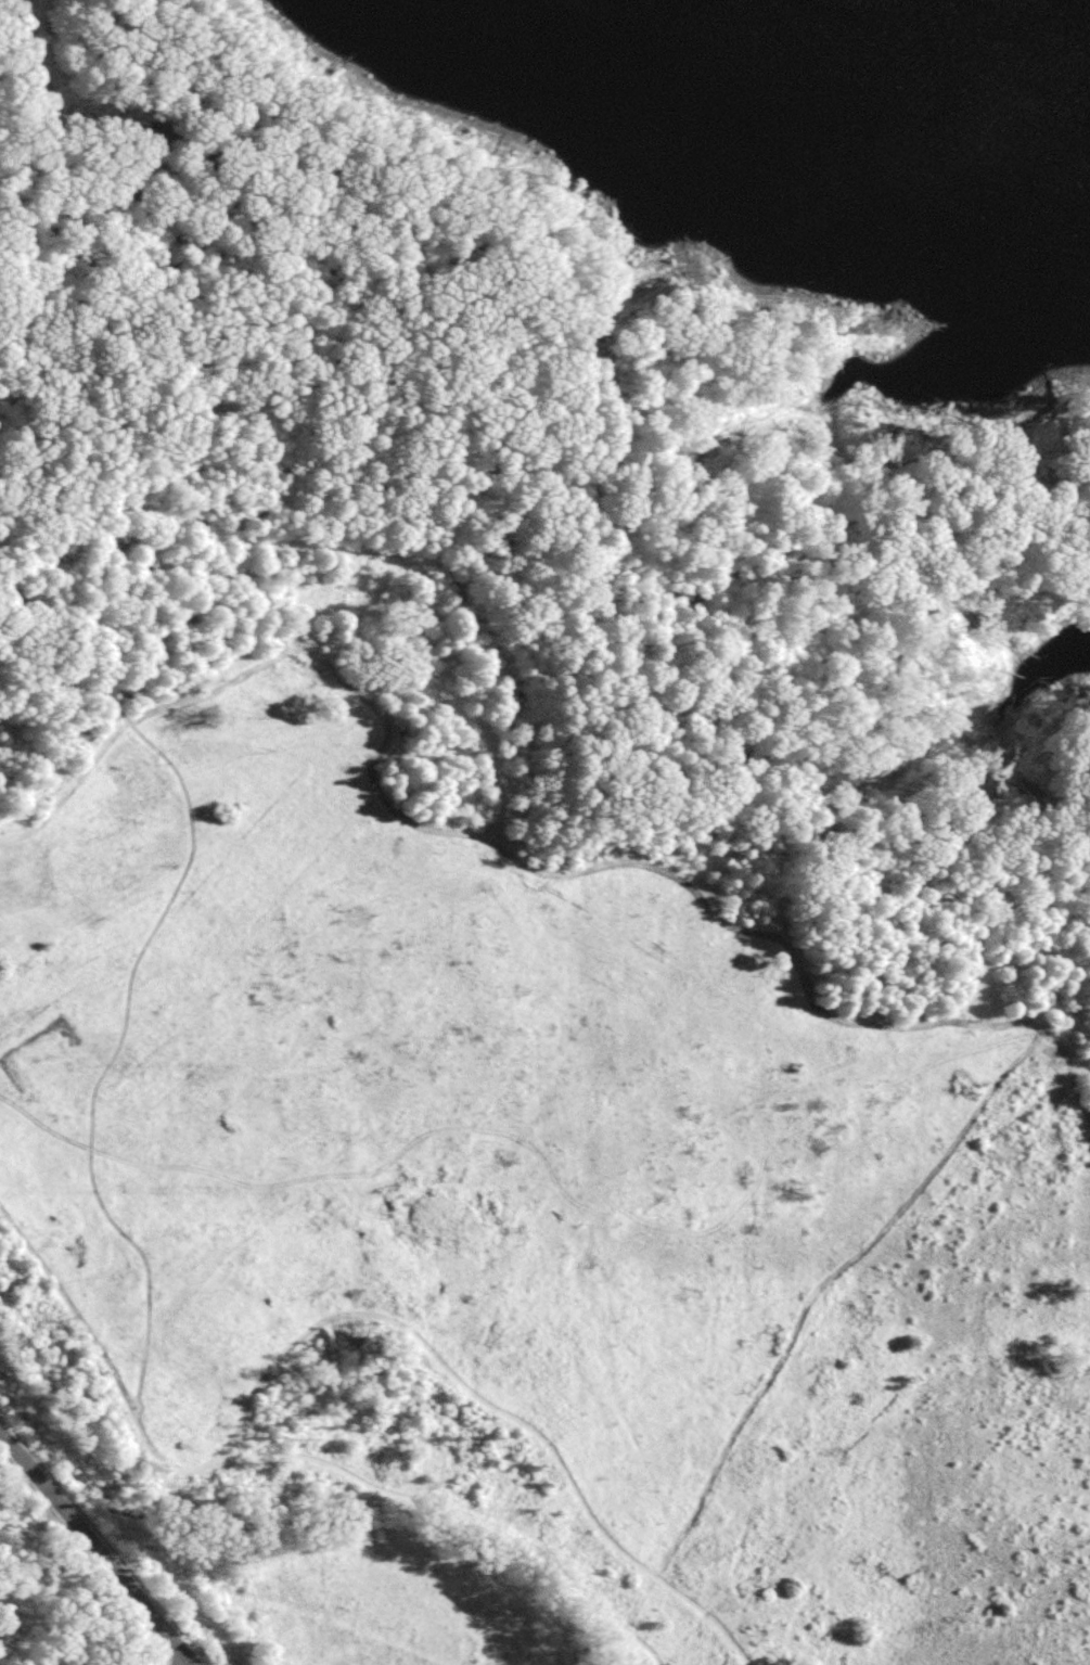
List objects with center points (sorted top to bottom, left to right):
river: (1065, 16)
road: (91, 1329)
road: (293, 1342)
road: (230, 1424)
road: (97, 1548)

